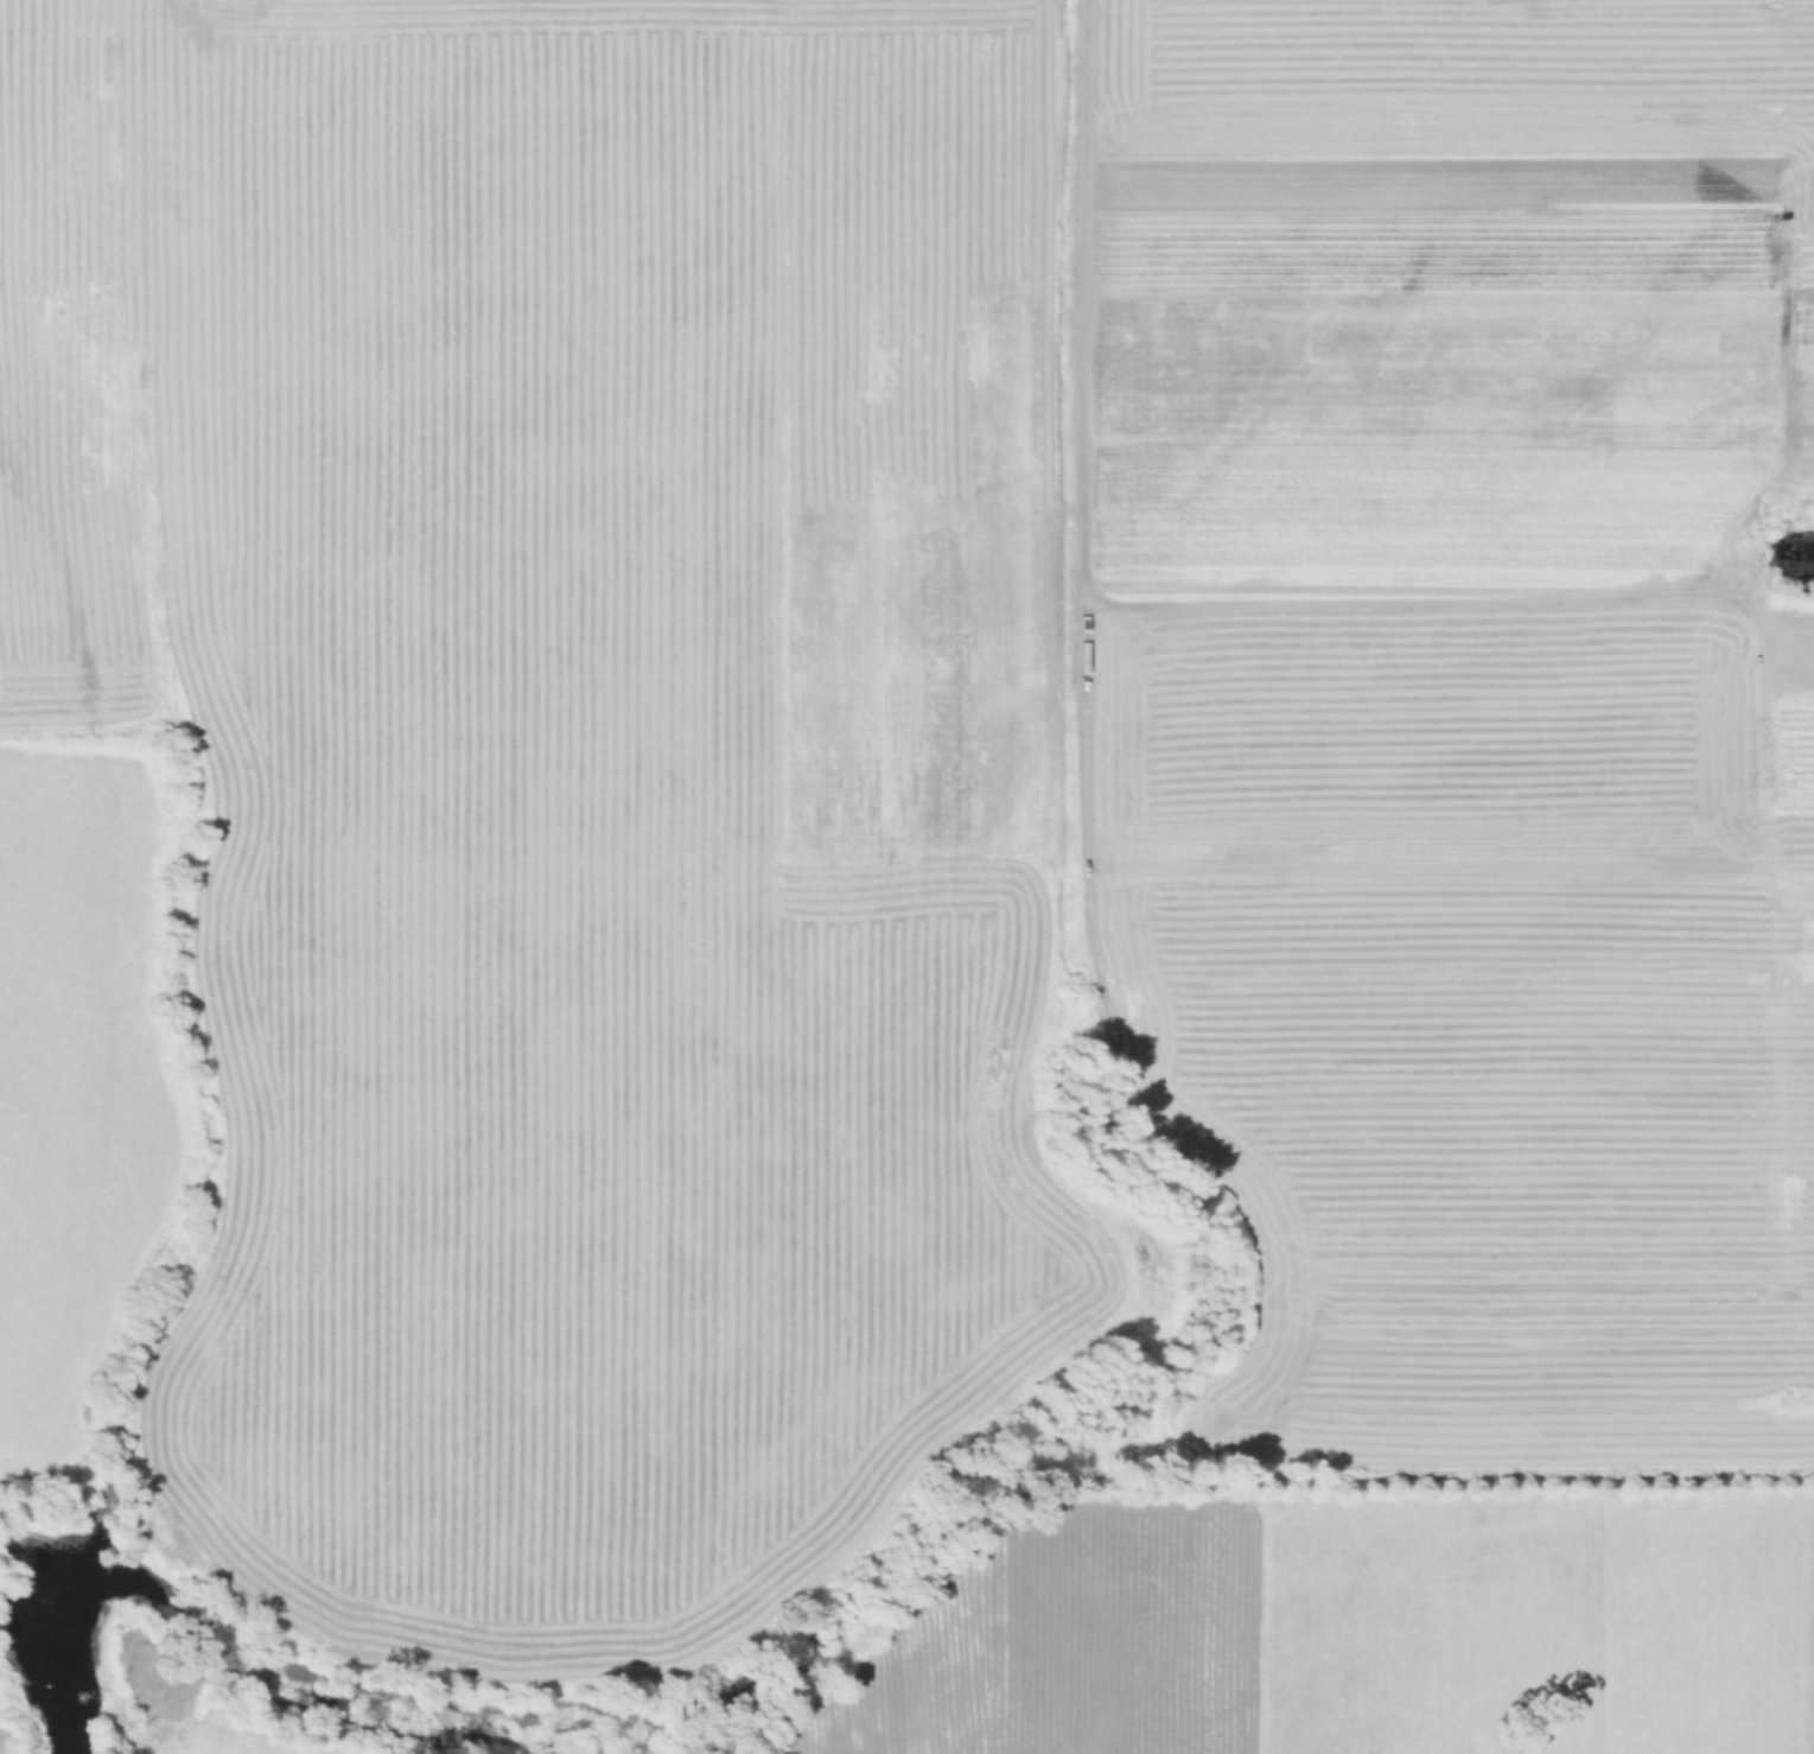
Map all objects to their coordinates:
crop: (931, 755)
crop: (90, 1106)

